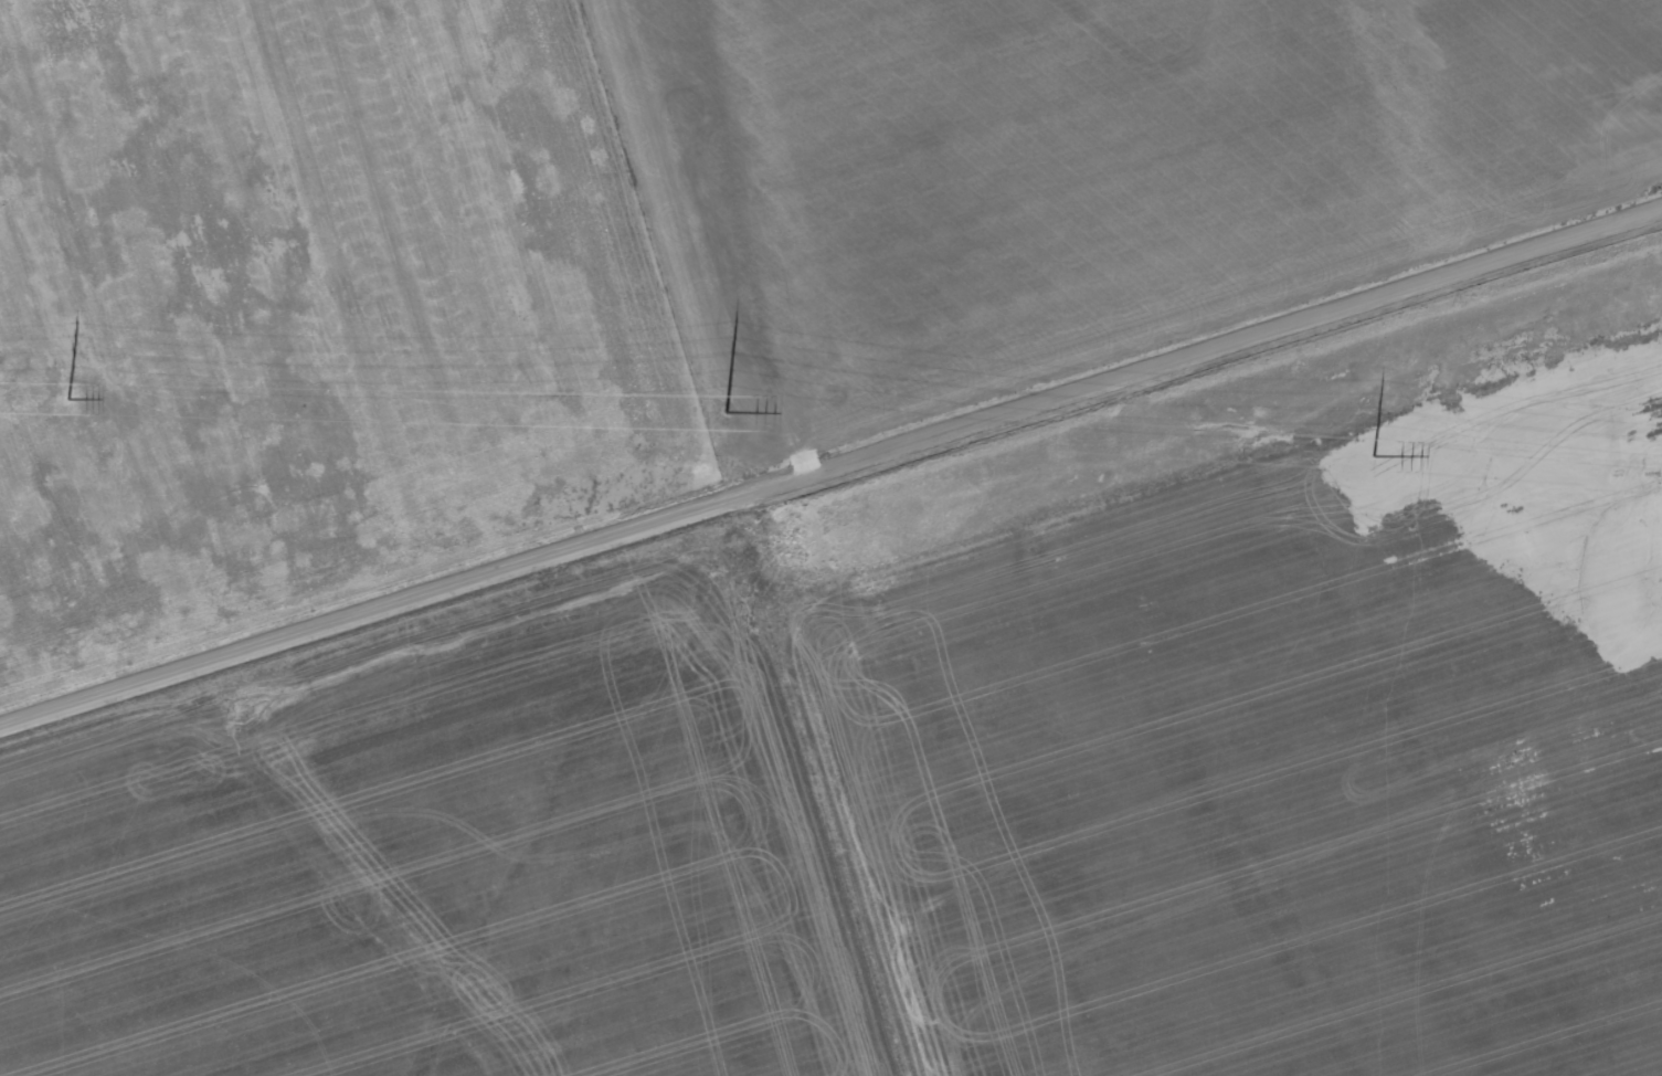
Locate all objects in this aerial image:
power tower: (71, 398)
power tower: (727, 411)
power tower: (1374, 455)
road: (829, 463)

